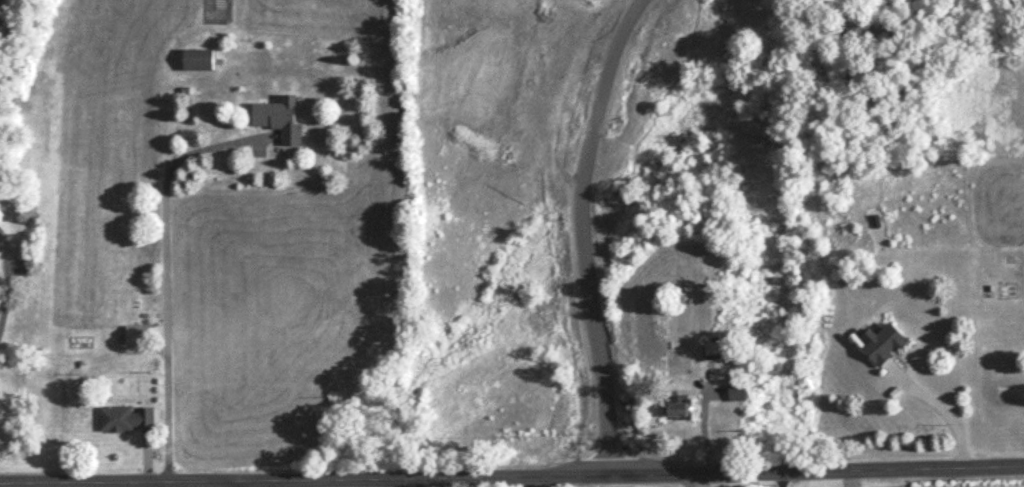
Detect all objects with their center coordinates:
building: (199, 61)
building: (281, 121)
road: (590, 230)
building: (2, 239)
road: (166, 285)
road: (6, 288)
building: (139, 336)
building: (884, 345)
building: (685, 411)
road: (951, 418)
building: (128, 420)
road: (512, 476)
road: (374, 483)
road: (239, 484)

